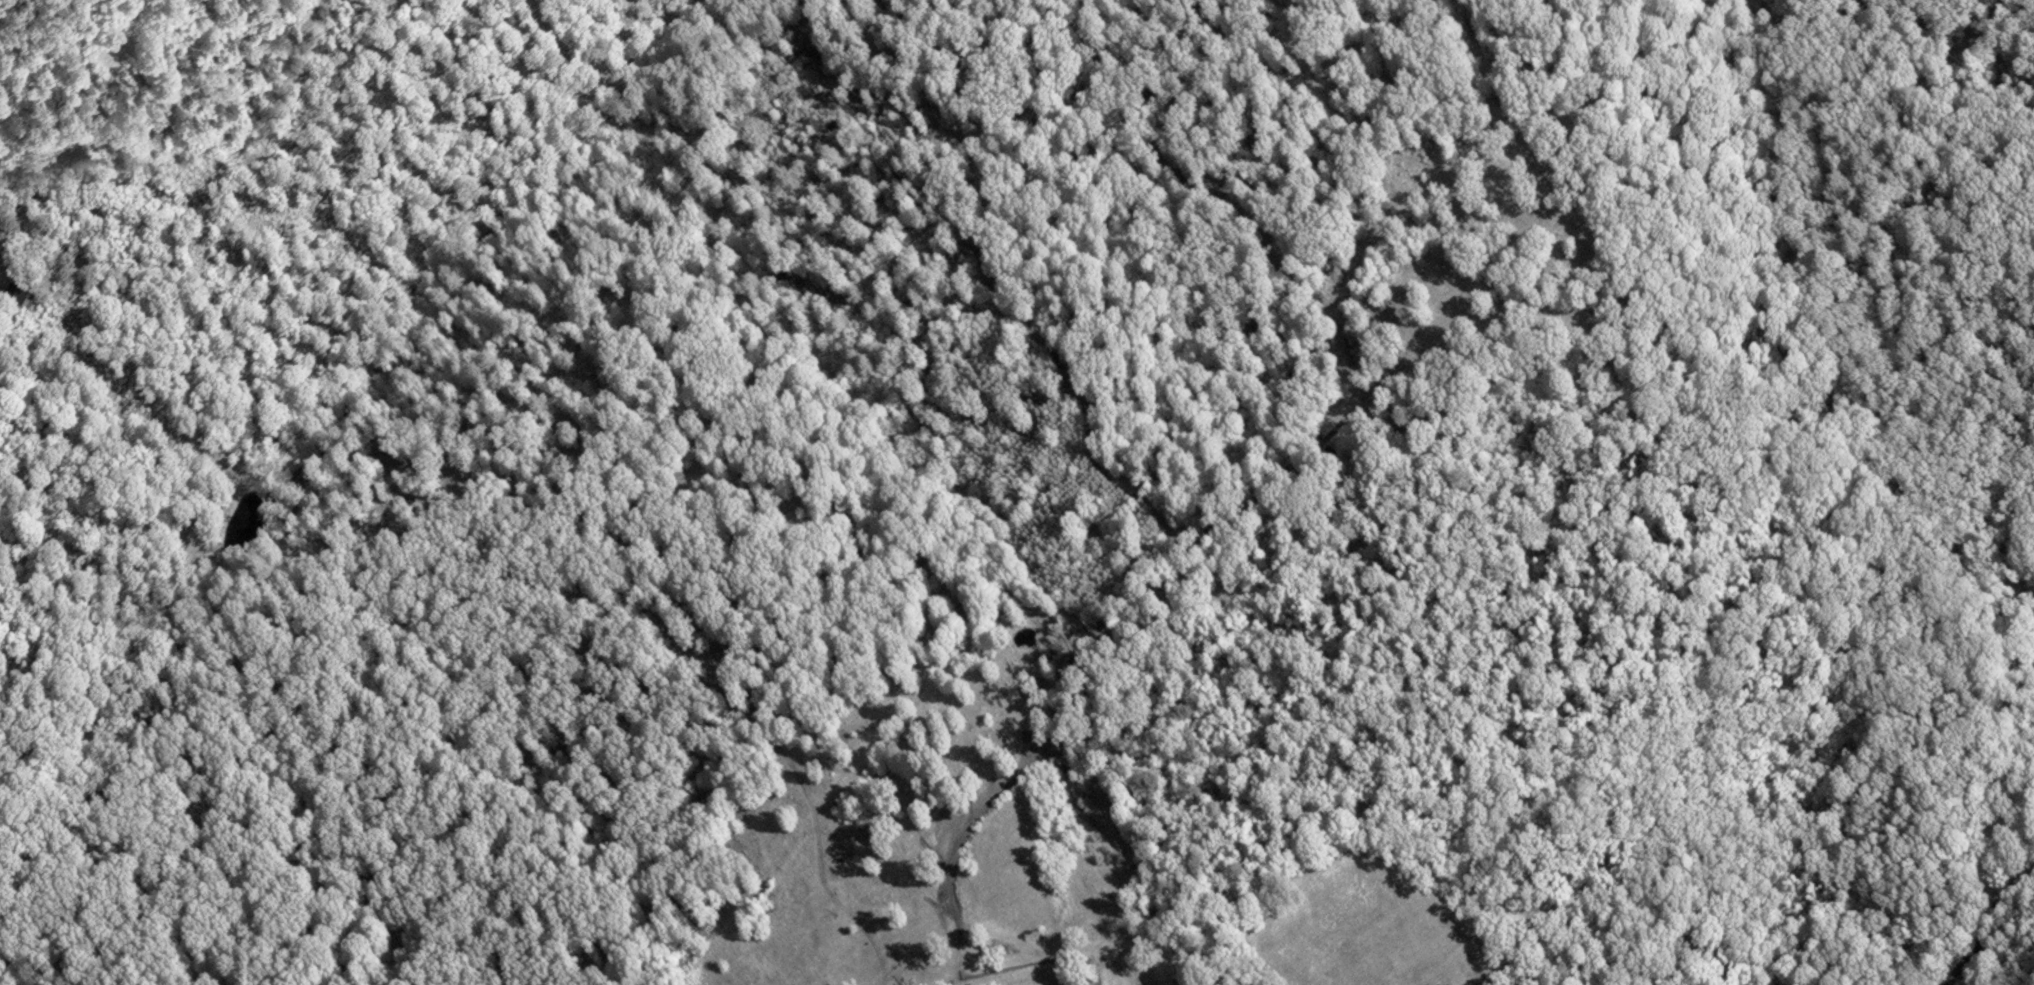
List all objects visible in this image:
road: (114, 773)
road: (1951, 900)
building: (1451, 984)

